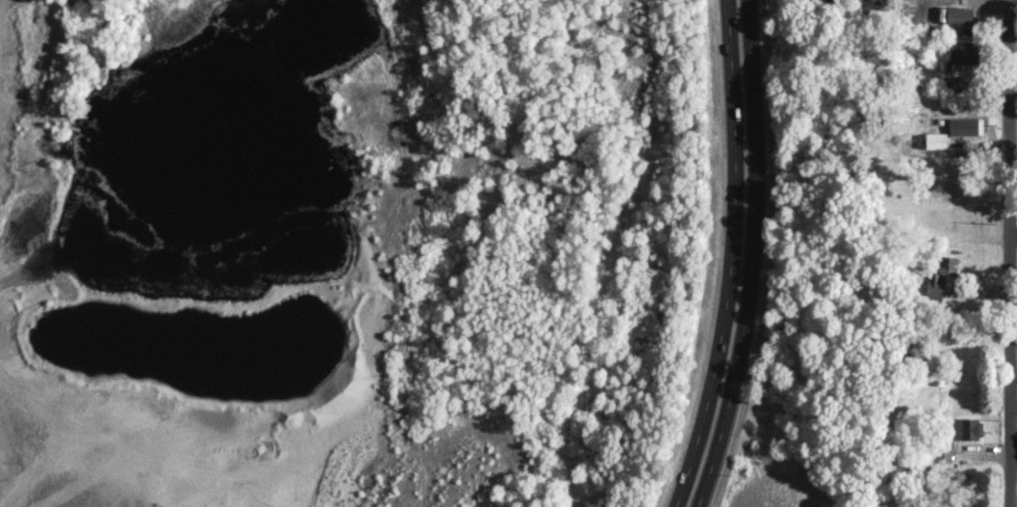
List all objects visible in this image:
building: (960, 14)
building: (964, 52)
building: (953, 83)
building: (966, 125)
building: (932, 140)
road: (1008, 253)
road: (741, 256)
building: (941, 272)
building: (966, 428)
building: (942, 452)

